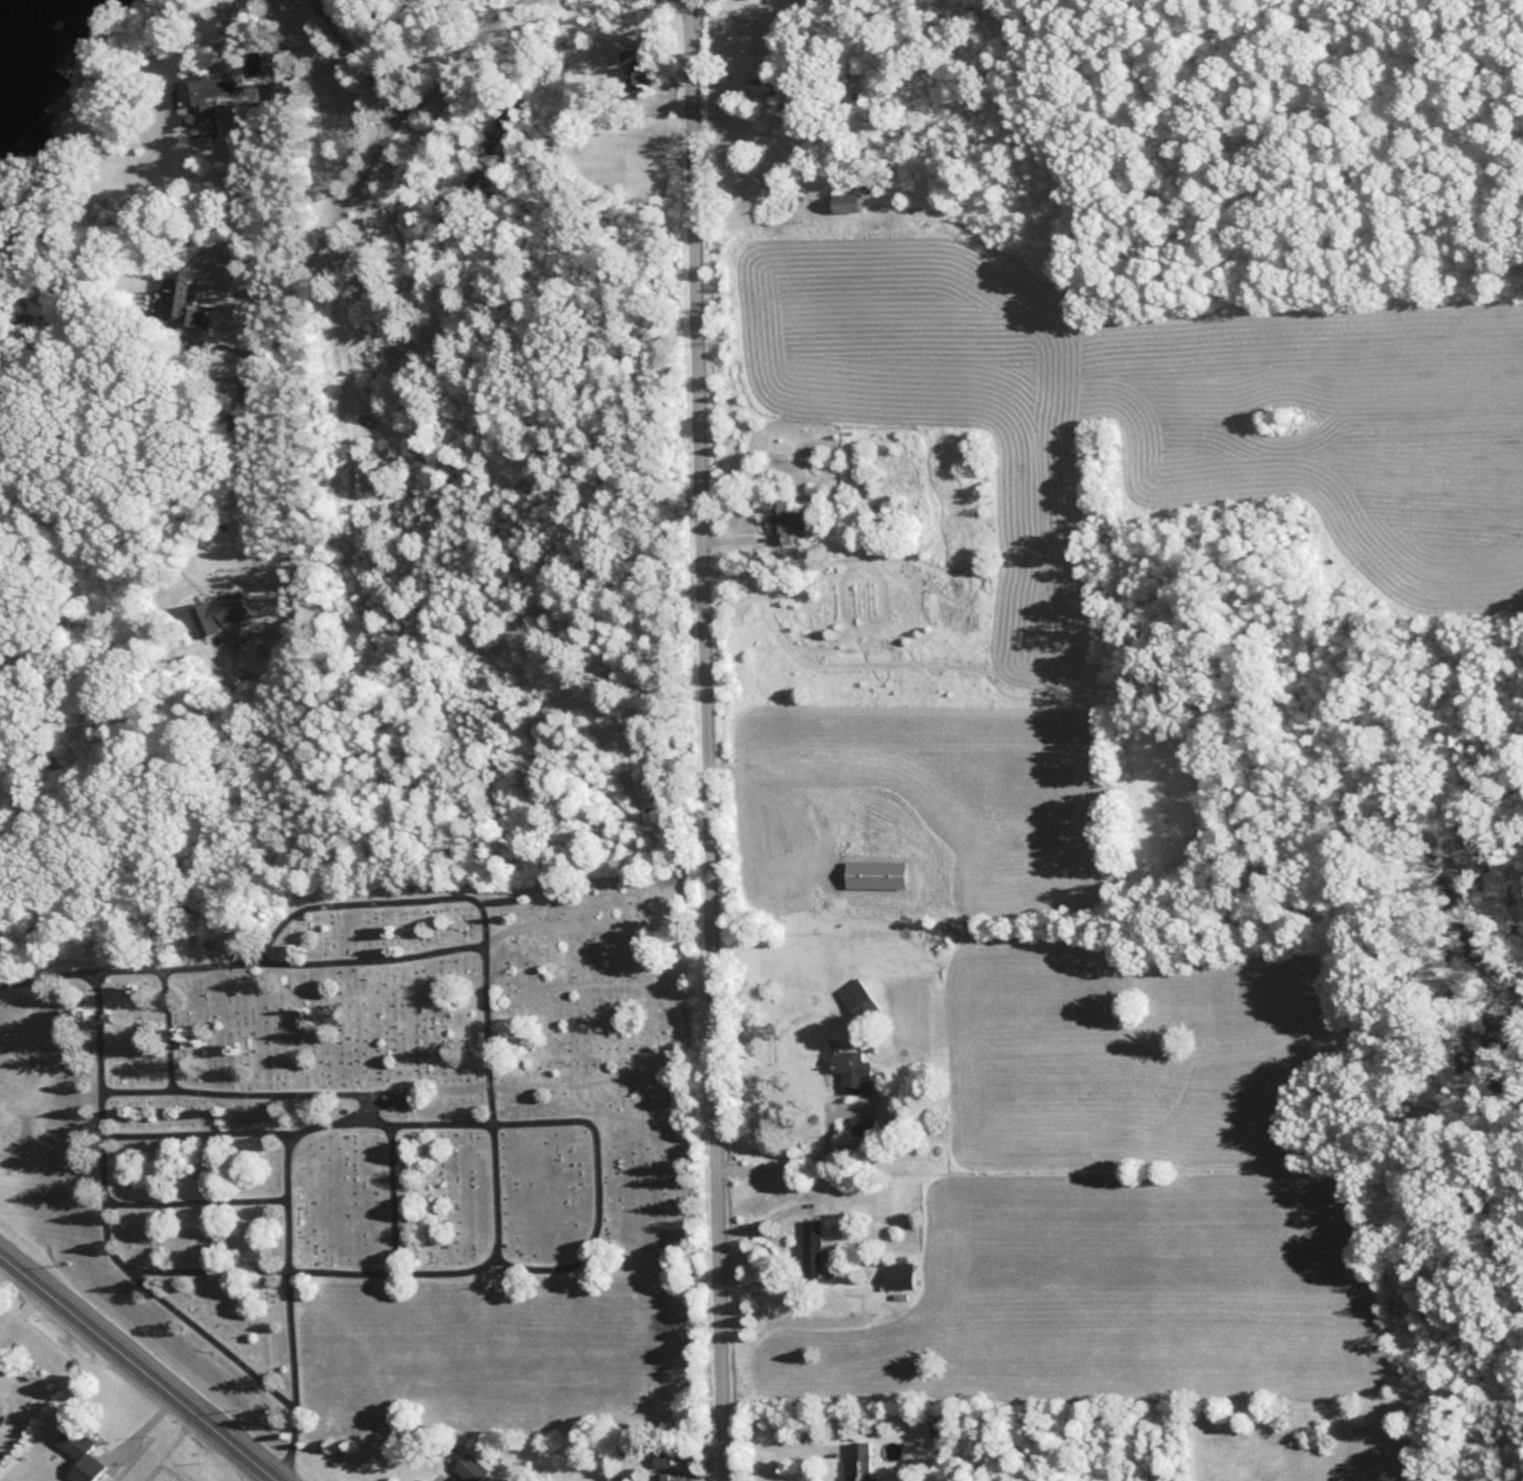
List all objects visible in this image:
road: (216, 27)
building: (629, 56)
building: (259, 62)
building: (633, 76)
building: (761, 92)
building: (197, 94)
road: (417, 100)
road: (348, 188)
building: (179, 304)
road: (289, 473)
building: (782, 521)
building: (219, 613)
road: (713, 740)
building: (858, 1000)
building: (398, 1101)
building: (859, 1124)
park: (385, 1153)
building: (809, 1249)
building: (896, 1274)
road: (142, 1367)
building: (77, 1452)
building: (660, 1459)
building: (857, 1460)
building: (468, 1467)
building: (661, 1476)
road: (272, 1477)

